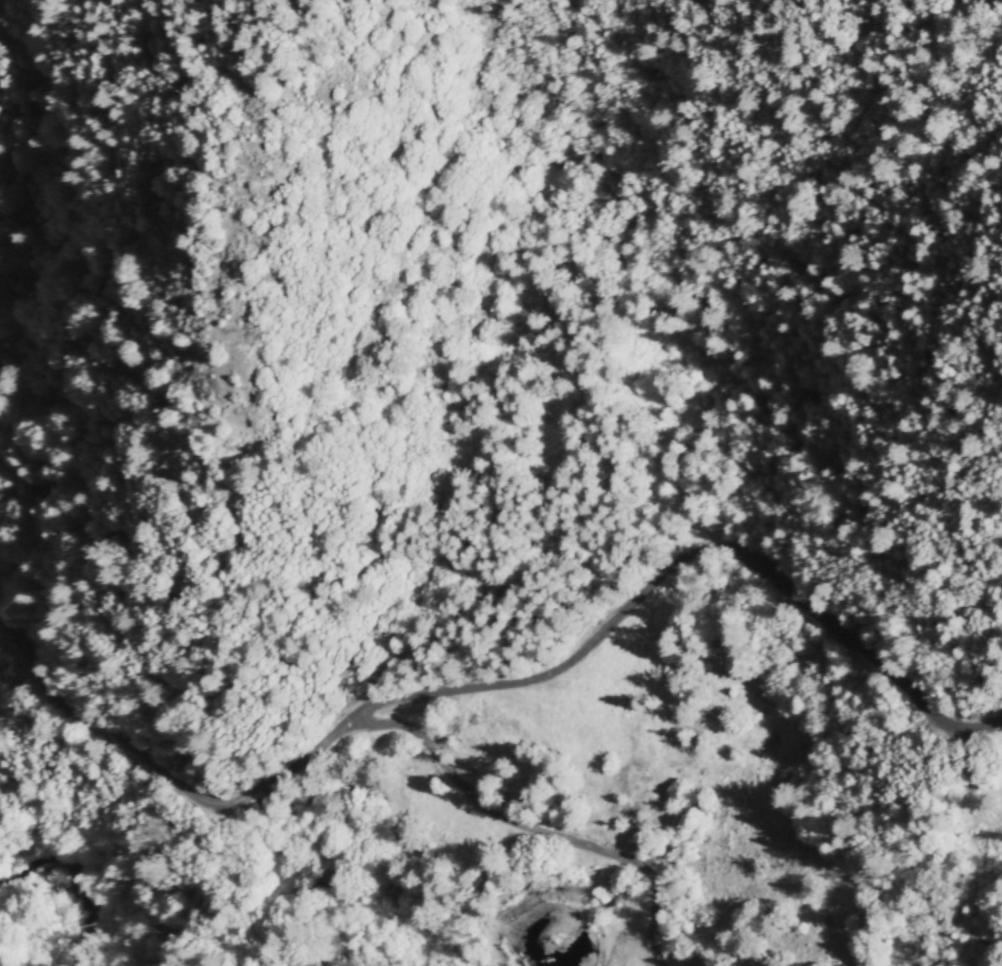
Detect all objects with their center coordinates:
road: (527, 681)
road: (544, 836)

